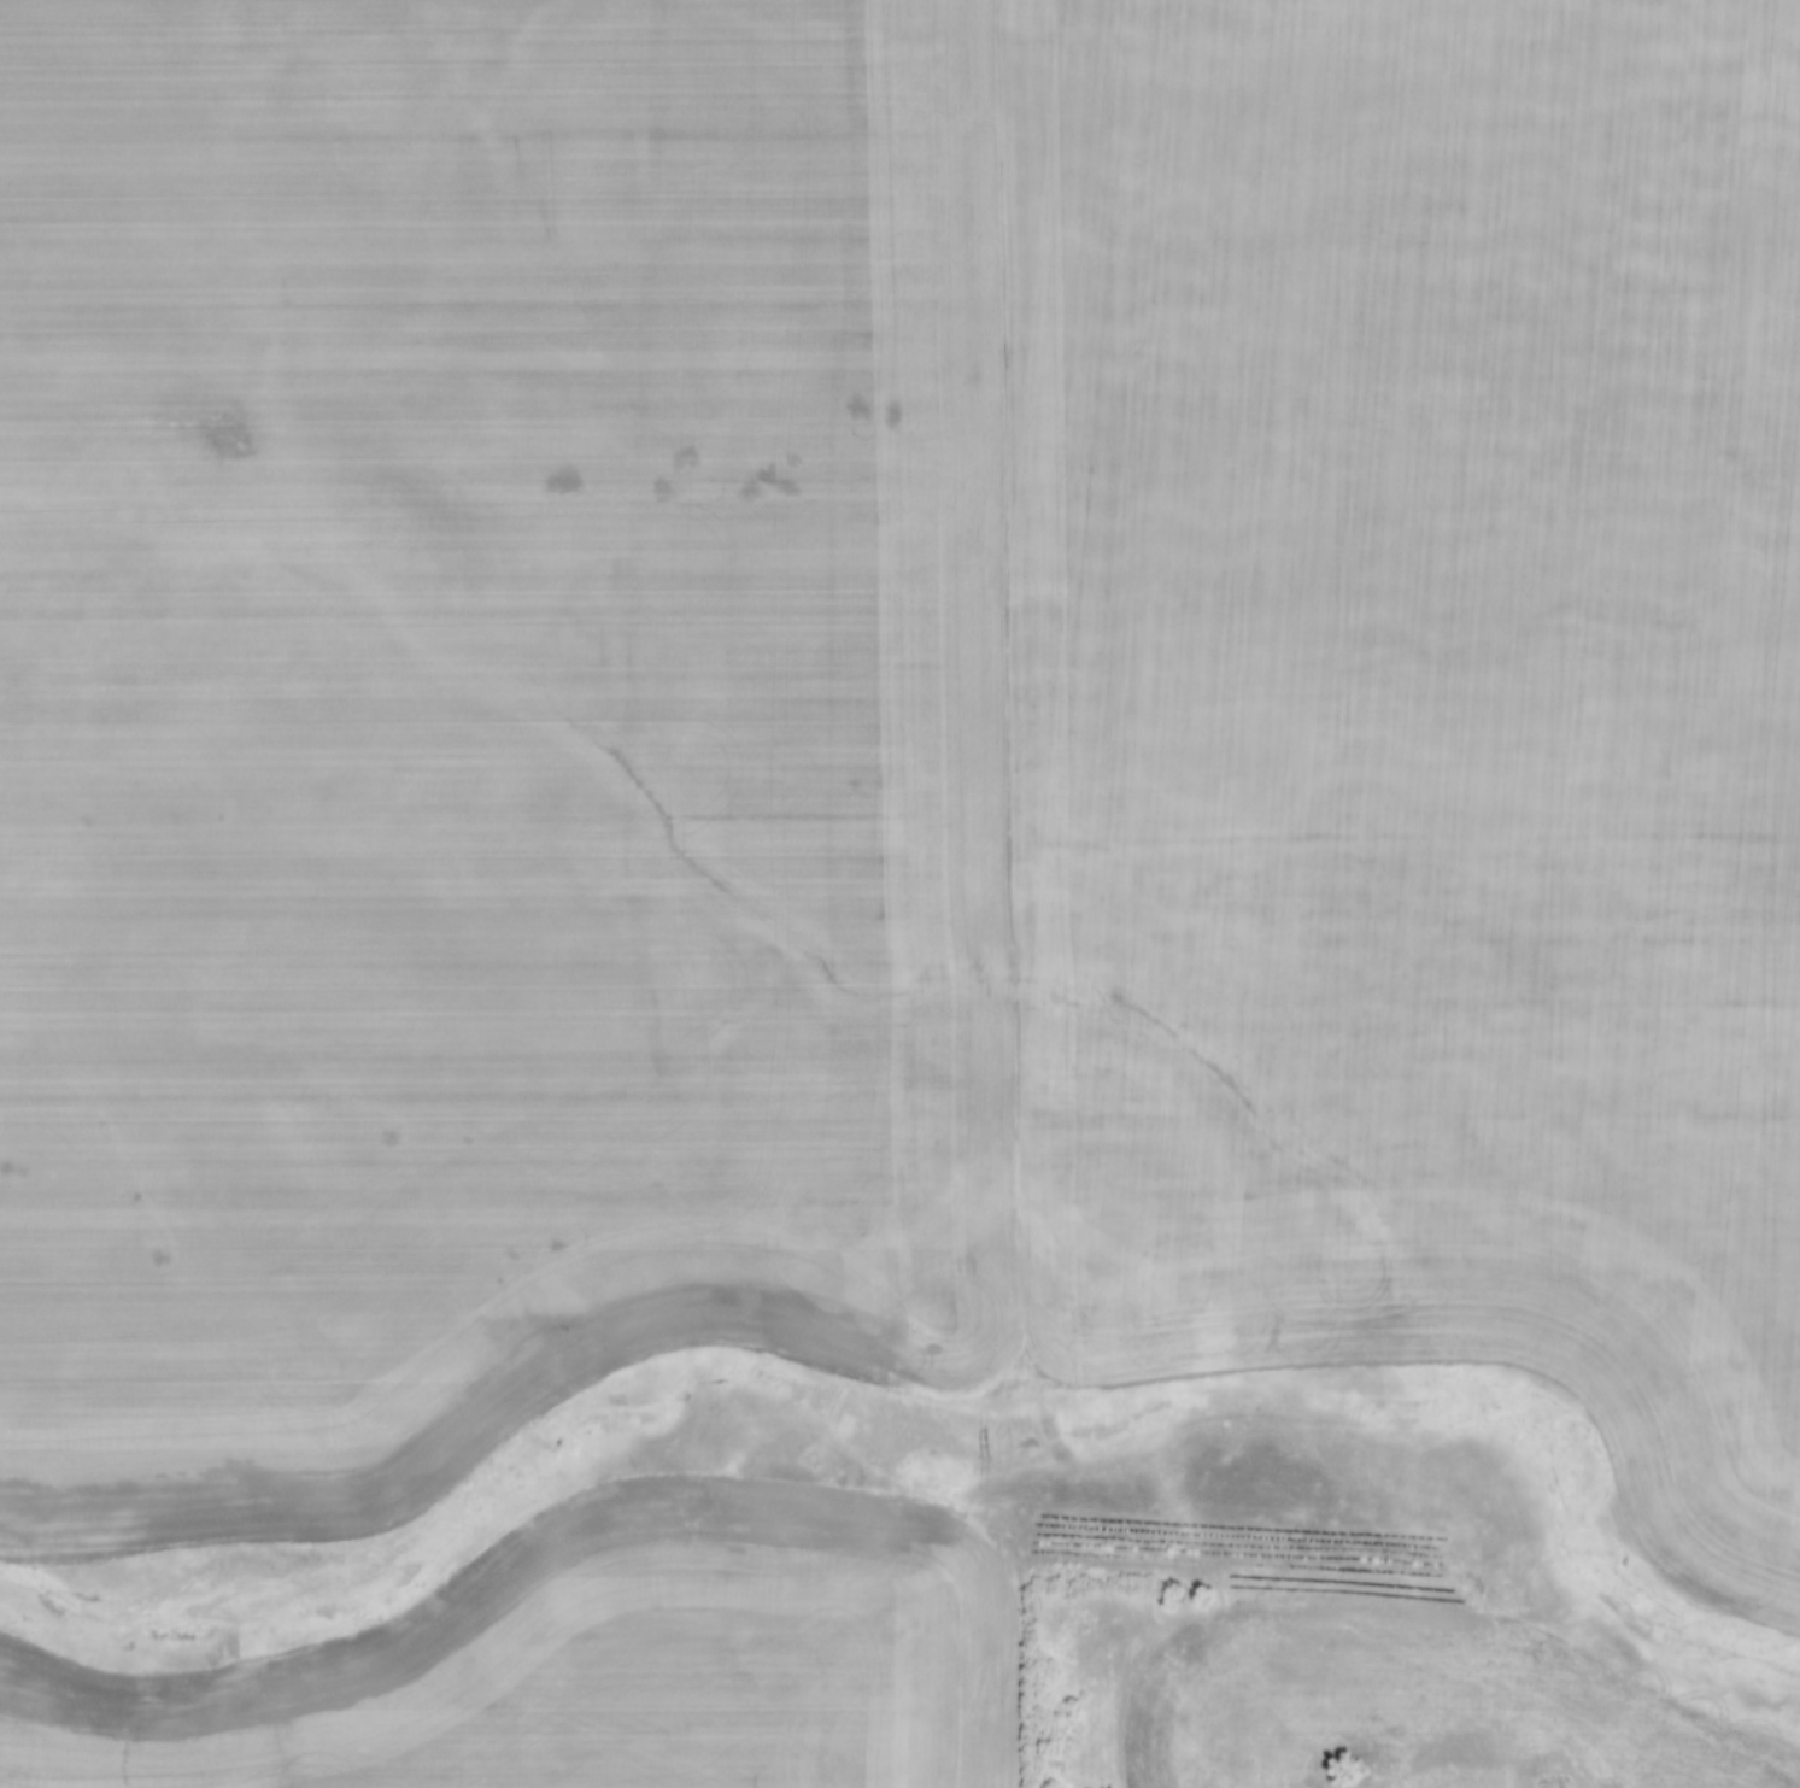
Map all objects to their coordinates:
building: (1474, 1787)

